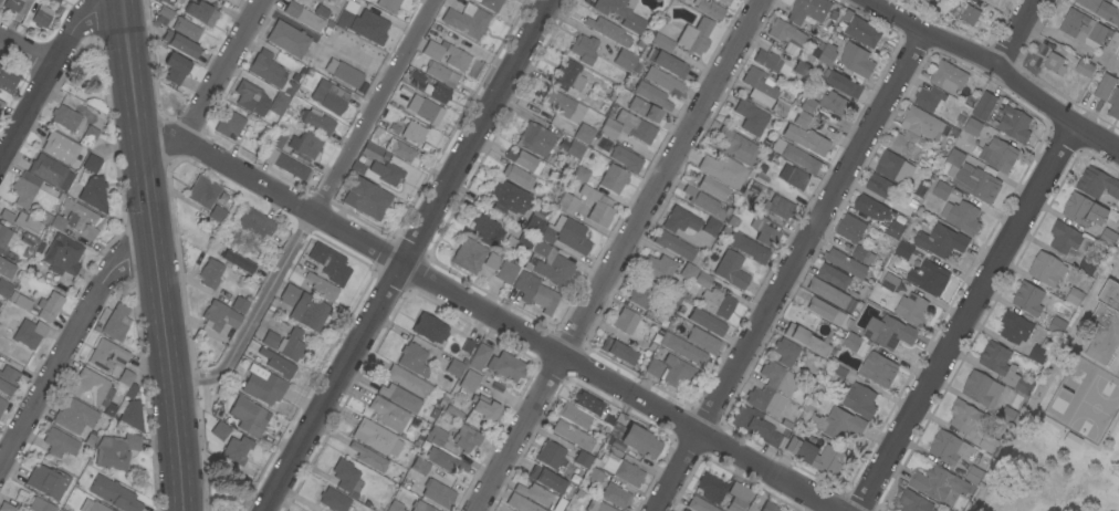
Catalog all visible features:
building: (191, 0)
building: (228, 0)
building: (320, 0)
building: (332, 0)
building: (911, 0)
building: (928, 0)
building: (56, 1)
building: (723, 2)
building: (14, 4)
building: (388, 4)
building: (490, 4)
building: (1101, 9)
building: (710, 10)
building: (807, 11)
building: (321, 12)
building: (200, 13)
building: (620, 13)
building: (302, 15)
building: (969, 15)
building: (41, 17)
building: (344, 19)
building: (467, 22)
building: (369, 28)
building: (187, 29)
building: (1084, 29)
building: (859, 30)
building: (607, 31)
building: (785, 32)
road: (1012, 32)
building: (694, 36)
building: (824, 38)
building: (287, 39)
building: (661, 43)
building: (180, 44)
building: (1113, 44)
building: (584, 49)
road: (25, 51)
building: (827, 54)
building: (458, 56)
building: (624, 60)
building: (856, 60)
building: (766, 61)
building: (666, 63)
building: (1054, 64)
road: (996, 66)
building: (175, 69)
building: (266, 69)
building: (801, 69)
building: (1084, 69)
road: (220, 70)
building: (342, 72)
building: (441, 74)
building: (567, 76)
building: (8, 77)
building: (418, 77)
building: (948, 77)
road: (44, 79)
building: (662, 80)
building: (841, 83)
building: (760, 86)
building: (1104, 87)
building: (289, 91)
building: (437, 93)
building: (305, 94)
building: (651, 95)
building: (929, 97)
building: (251, 98)
building: (334, 100)
building: (557, 103)
building: (805, 103)
building: (1113, 103)
building: (279, 104)
building: (835, 104)
building: (1, 105)
building: (984, 106)
building: (780, 107)
building: (425, 109)
building: (645, 112)
building: (64, 117)
building: (750, 117)
building: (802, 119)
building: (316, 122)
building: (229, 124)
building: (923, 124)
building: (1014, 125)
building: (626, 127)
building: (972, 127)
building: (409, 132)
building: (584, 134)
building: (88, 137)
building: (276, 139)
building: (535, 139)
building: (806, 139)
building: (305, 145)
building: (906, 145)
building: (736, 146)
building: (60, 148)
building: (574, 149)
building: (399, 150)
building: (370, 152)
building: (1001, 155)
building: (799, 158)
building: (954, 158)
building: (626, 159)
building: (524, 161)
building: (91, 164)
building: (292, 167)
building: (893, 168)
building: (723, 170)
building: (50, 171)
building: (379, 173)
building: (581, 174)
building: (516, 176)
building: (613, 179)
building: (796, 179)
building: (977, 182)
building: (1097, 184)
building: (877, 185)
building: (712, 188)
building: (919, 188)
building: (24, 189)
building: (941, 190)
building: (202, 191)
building: (91, 192)
building: (509, 198)
building: (366, 199)
building: (702, 201)
building: (566, 204)
building: (777, 207)
building: (869, 207)
building: (1084, 210)
building: (600, 212)
building: (217, 213)
road: (310, 216)
building: (961, 217)
building: (45, 219)
building: (82, 220)
building: (680, 220)
building: (1117, 222)
building: (27, 223)
building: (57, 223)
building: (254, 223)
building: (534, 225)
building: (710, 227)
building: (849, 228)
building: (488, 231)
building: (764, 232)
building: (566, 234)
building: (1108, 237)
building: (6, 240)
building: (941, 241)
building: (1069, 241)
building: (524, 243)
building: (42, 244)
building: (747, 248)
building: (903, 250)
building: (680, 253)
building: (860, 253)
road: (154, 254)
road: (409, 255)
building: (469, 255)
road: (618, 255)
building: (61, 258)
building: (237, 261)
building: (492, 261)
building: (330, 263)
building: (846, 263)
building: (551, 264)
building: (1087, 264)
building: (657, 269)
building: (1046, 269)
road: (1113, 269)
building: (6, 270)
building: (731, 270)
road: (788, 270)
building: (506, 272)
building: (210, 273)
building: (833, 277)
building: (929, 278)
building: (702, 280)
building: (63, 282)
building: (889, 282)
building: (857, 284)
building: (4, 288)
building: (322, 288)
building: (534, 293)
building: (642, 294)
building: (830, 294)
building: (853, 294)
building: (12, 295)
building: (1074, 296)
building: (1028, 299)
building: (671, 301)
building: (21, 303)
building: (717, 303)
building: (240, 305)
building: (49, 306)
building: (304, 307)
building: (911, 310)
road: (488, 312)
building: (826, 312)
building: (219, 316)
road: (966, 317)
building: (625, 322)
building: (705, 322)
building: (115, 323)
building: (1105, 323)
building: (1057, 326)
building: (1014, 327)
building: (429, 328)
building: (29, 333)
building: (888, 333)
building: (652, 334)
building: (270, 340)
building: (806, 340)
building: (703, 341)
building: (851, 342)
building: (291, 345)
road: (65, 346)
building: (466, 346)
building: (682, 350)
building: (617, 352)
building: (785, 352)
building: (481, 353)
building: (1037, 354)
building: (107, 357)
building: (412, 359)
building: (276, 363)
road: (1111, 364)
building: (505, 367)
building: (1003, 367)
building: (454, 368)
building: (653, 368)
building: (878, 369)
road: (1098, 371)
building: (676, 373)
building: (836, 374)
building: (126, 378)
building: (777, 378)
building: (8, 380)
building: (408, 382)
building: (468, 382)
building: (262, 385)
building: (90, 387)
building: (981, 389)
park: (1067, 389)
building: (130, 392)
road: (1077, 394)
building: (400, 397)
building: (859, 400)
building: (765, 401)
building: (586, 404)
building: (2, 405)
road: (1033, 406)
park: (1095, 408)
building: (109, 409)
building: (482, 411)
building: (132, 415)
building: (388, 415)
building: (75, 416)
building: (574, 416)
building: (1007, 416)
building: (245, 417)
building: (964, 417)
park: (1068, 419)
building: (837, 424)
building: (756, 426)
building: (220, 430)
building: (436, 437)
building: (575, 437)
building: (377, 438)
building: (467, 438)
building: (91, 440)
building: (639, 442)
building: (59, 444)
building: (986, 444)
building: (948, 448)
building: (237, 450)
building: (115, 451)
building: (817, 456)
building: (551, 457)
building: (368, 458)
building: (583, 460)
building: (445, 461)
building: (419, 466)
building: (619, 469)
building: (595, 474)
building: (974, 476)
building: (347, 478)
building: (546, 480)
building: (48, 482)
building: (939, 484)
building: (711, 488)
building: (437, 493)
building: (114, 494)
building: (534, 494)
building: (616, 496)
building: (738, 497)
building: (333, 500)
building: (913, 502)
building: (520, 503)
building: (558, 504)
building: (40, 505)
building: (92, 505)
building: (395, 505)
building: (699, 505)
building: (6, 507)
building: (420, 507)
building: (597, 507)
building: (768, 508)
building: (566, 510)
building: (680, 510)
building: (683, 510)
building: (687, 510)

